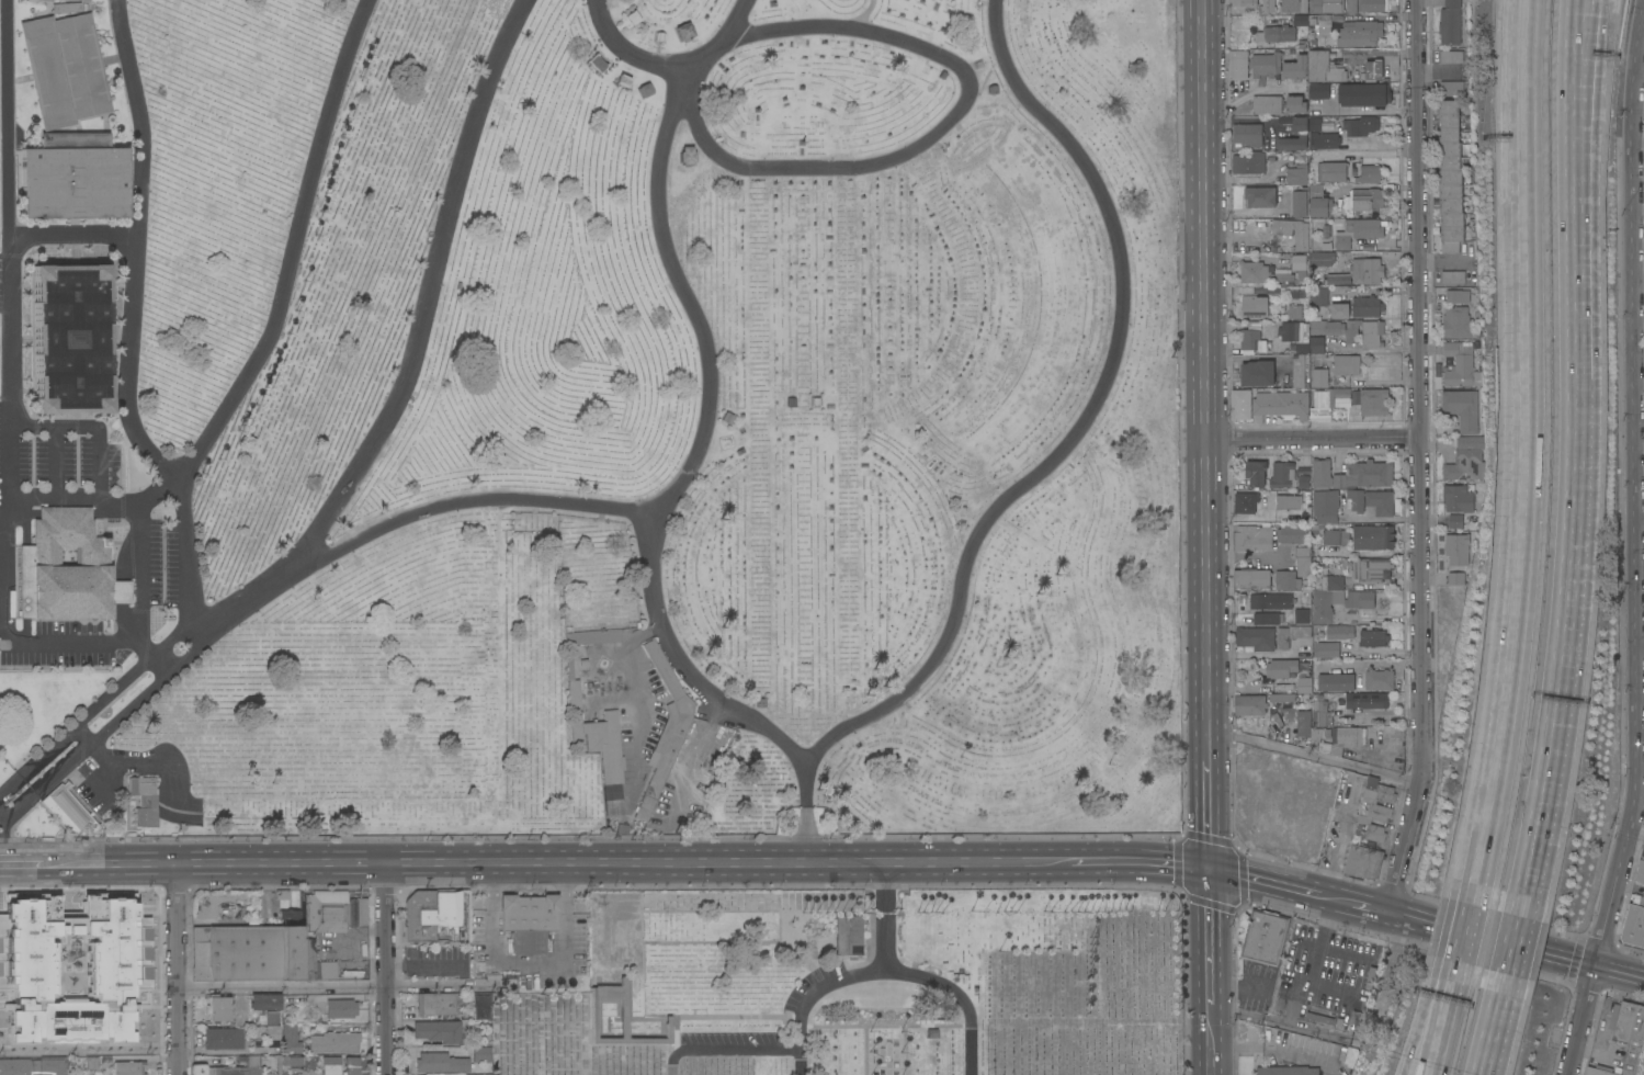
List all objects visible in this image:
building: (47, 0)
building: (84, 0)
building: (1245, 2)
building: (1268, 5)
building: (1294, 5)
building: (1372, 5)
building: (66, 7)
building: (1352, 7)
building: (1326, 12)
road: (1579, 14)
road: (1580, 14)
building: (1451, 22)
building: (684, 30)
building: (1363, 31)
building: (1275, 33)
building: (1451, 56)
building: (597, 63)
building: (1266, 64)
building: (1238, 65)
building: (1295, 67)
building: (1324, 67)
building: (64, 68)
building: (1373, 69)
road: (1641, 76)
building: (1452, 87)
building: (1317, 91)
building: (1360, 91)
building: (1318, 100)
building: (1295, 103)
building: (1267, 104)
road: (1640, 110)
building: (1314, 124)
building: (1361, 125)
road: (7, 129)
building: (1301, 133)
building: (1247, 135)
building: (1324, 140)
road: (1640, 144)
road: (1374, 151)
building: (688, 155)
building: (1301, 156)
building: (1249, 162)
road: (881, 163)
building: (1331, 171)
building: (1297, 173)
building: (1370, 173)
building: (73, 176)
building: (1451, 178)
building: (1315, 190)
building: (1261, 196)
building: (1368, 199)
building: (1300, 203)
building: (1320, 206)
building: (1364, 227)
building: (1302, 240)
building: (1343, 242)
building: (1322, 258)
road: (1444, 260)
building: (1300, 265)
building: (1255, 271)
building: (1359, 272)
building: (1282, 274)
road: (1640, 275)
building: (1453, 276)
building: (1290, 292)
building: (1319, 295)
building: (1459, 296)
building: (1255, 306)
building: (1367, 306)
building: (1339, 310)
building: (1294, 312)
building: (1458, 320)
road: (1640, 320)
building: (1338, 328)
building: (1372, 333)
building: (1294, 335)
building: (1255, 336)
building: (48, 338)
building: (1316, 344)
road: (418, 346)
building: (1347, 364)
building: (1461, 364)
road: (1204, 369)
building: (1300, 371)
building: (1258, 372)
building: (1320, 377)
road: (8, 380)
road: (1640, 382)
building: (1328, 401)
building: (1374, 401)
building: (1282, 403)
building: (1240, 404)
road: (710, 406)
building: (1462, 408)
park: (589, 418)
road: (1087, 420)
road: (92, 425)
road: (1313, 439)
building: (1471, 442)
road: (1523, 454)
road: (1421, 457)
building: (1465, 465)
road: (1641, 469)
road: (186, 472)
building: (1256, 472)
building: (1322, 472)
building: (1364, 474)
building: (1283, 475)
road: (1577, 476)
building: (1301, 482)
building: (1458, 498)
building: (1356, 499)
building: (1246, 501)
building: (1289, 501)
building: (1326, 501)
building: (1380, 501)
road: (455, 503)
road: (76, 505)
road: (1641, 514)
building: (1455, 520)
building: (1292, 533)
building: (1336, 536)
building: (1374, 536)
building: (1252, 537)
building: (1458, 548)
road: (1637, 548)
road: (192, 553)
building: (1303, 562)
road: (139, 566)
building: (68, 568)
building: (1372, 568)
building: (1251, 578)
building: (1456, 578)
building: (1286, 579)
building: (1327, 599)
building: (1359, 599)
building: (1284, 602)
building: (1266, 618)
building: (1340, 633)
building: (1292, 634)
building: (597, 635)
building: (1256, 637)
building: (1373, 637)
road: (75, 643)
building: (1326, 650)
building: (1281, 667)
building: (1379, 679)
building: (1336, 682)
building: (1305, 686)
building: (1282, 697)
building: (1367, 700)
building: (1250, 705)
building: (1318, 710)
road: (99, 720)
building: (665, 729)
building: (1311, 732)
building: (596, 733)
building: (1349, 735)
road: (1208, 749)
road: (1314, 757)
building: (1357, 792)
building: (144, 800)
building: (1376, 807)
building: (68, 810)
road: (808, 815)
road: (1209, 815)
road: (1636, 837)
road: (624, 862)
road: (1141, 862)
building: (1363, 862)
road: (110, 863)
road: (21, 864)
traffic signals: (1210, 870)
building: (1640, 871)
road: (1266, 883)
road: (1357, 904)
building: (326, 910)
building: (361, 912)
building: (528, 912)
building: (429, 913)
building: (4, 917)
road: (888, 917)
building: (1633, 926)
building: (139, 933)
building: (848, 935)
road: (1465, 935)
road: (1211, 936)
building: (1265, 937)
road: (1494, 939)
building: (52, 941)
road: (1515, 948)
building: (247, 951)
building: (314, 963)
building: (111, 965)
road: (426, 965)
road: (389, 967)
road: (178, 969)
road: (1456, 970)
road: (1621, 972)
park: (842, 982)
road: (284, 986)
road: (814, 997)
road: (962, 997)
building: (264, 1002)
building: (433, 1003)
building: (480, 1006)
building: (340, 1008)
building: (218, 1009)
building: (621, 1017)
building: (1319, 1018)
building: (1358, 1018)
road: (888, 1026)
road: (1430, 1026)
road: (1443, 1026)
road: (1496, 1026)
building: (438, 1031)
building: (223, 1038)
building: (283, 1039)
road: (1212, 1039)
building: (1625, 1039)
building: (335, 1042)
road: (1279, 1048)
road: (729, 1049)
road: (869, 1050)
road: (908, 1050)
building: (480, 1054)
building: (1350, 1055)
building: (292, 1060)
building: (91, 1062)
building: (440, 1063)
building: (52, 1065)
building: (330, 1065)
building: (352, 1065)
building: (19, 1066)
building: (128, 1067)
building: (239, 1067)
building: (1288, 1070)

